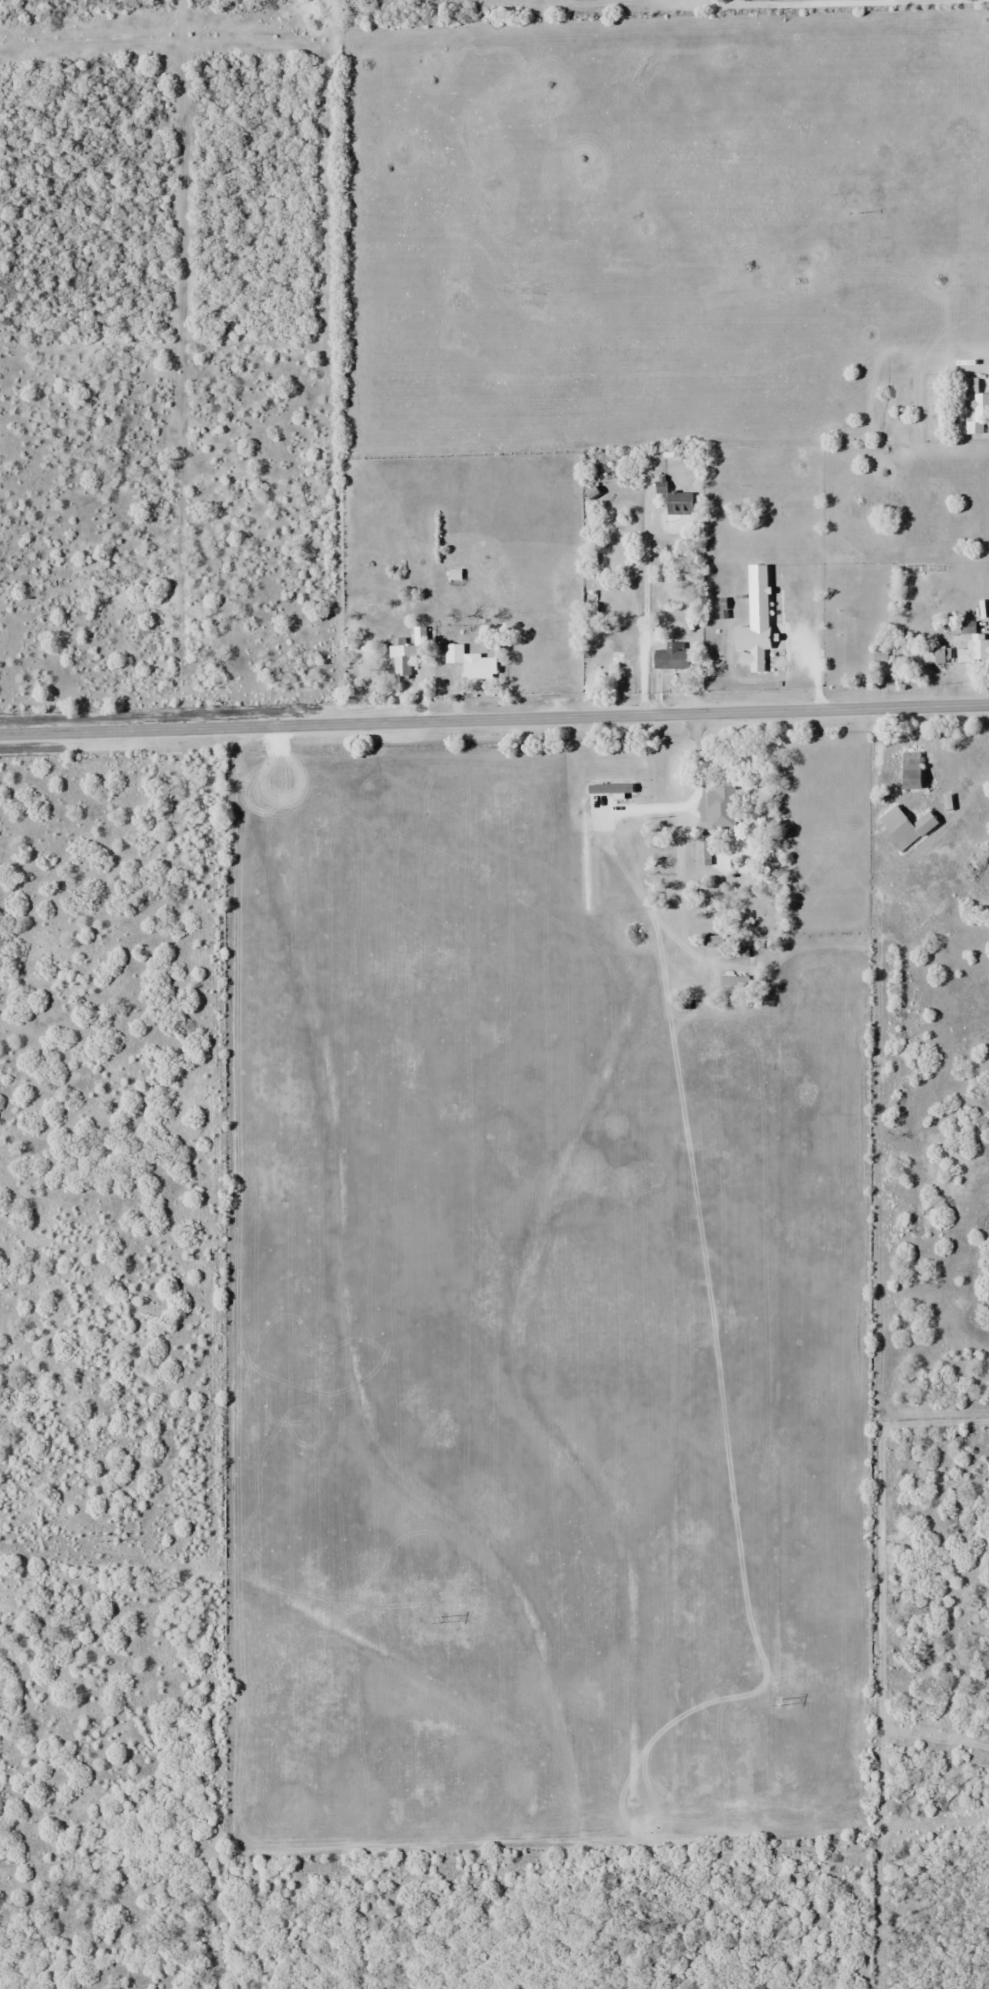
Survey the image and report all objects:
road: (703, 0)
building: (973, 406)
building: (946, 419)
building: (676, 502)
building: (451, 553)
building: (364, 602)
building: (750, 645)
building: (408, 653)
building: (668, 653)
building: (928, 656)
building: (470, 662)
road: (494, 719)
building: (721, 807)
building: (903, 827)
power tower: (103, 1537)
power tower: (438, 1619)
power tower: (778, 1699)

